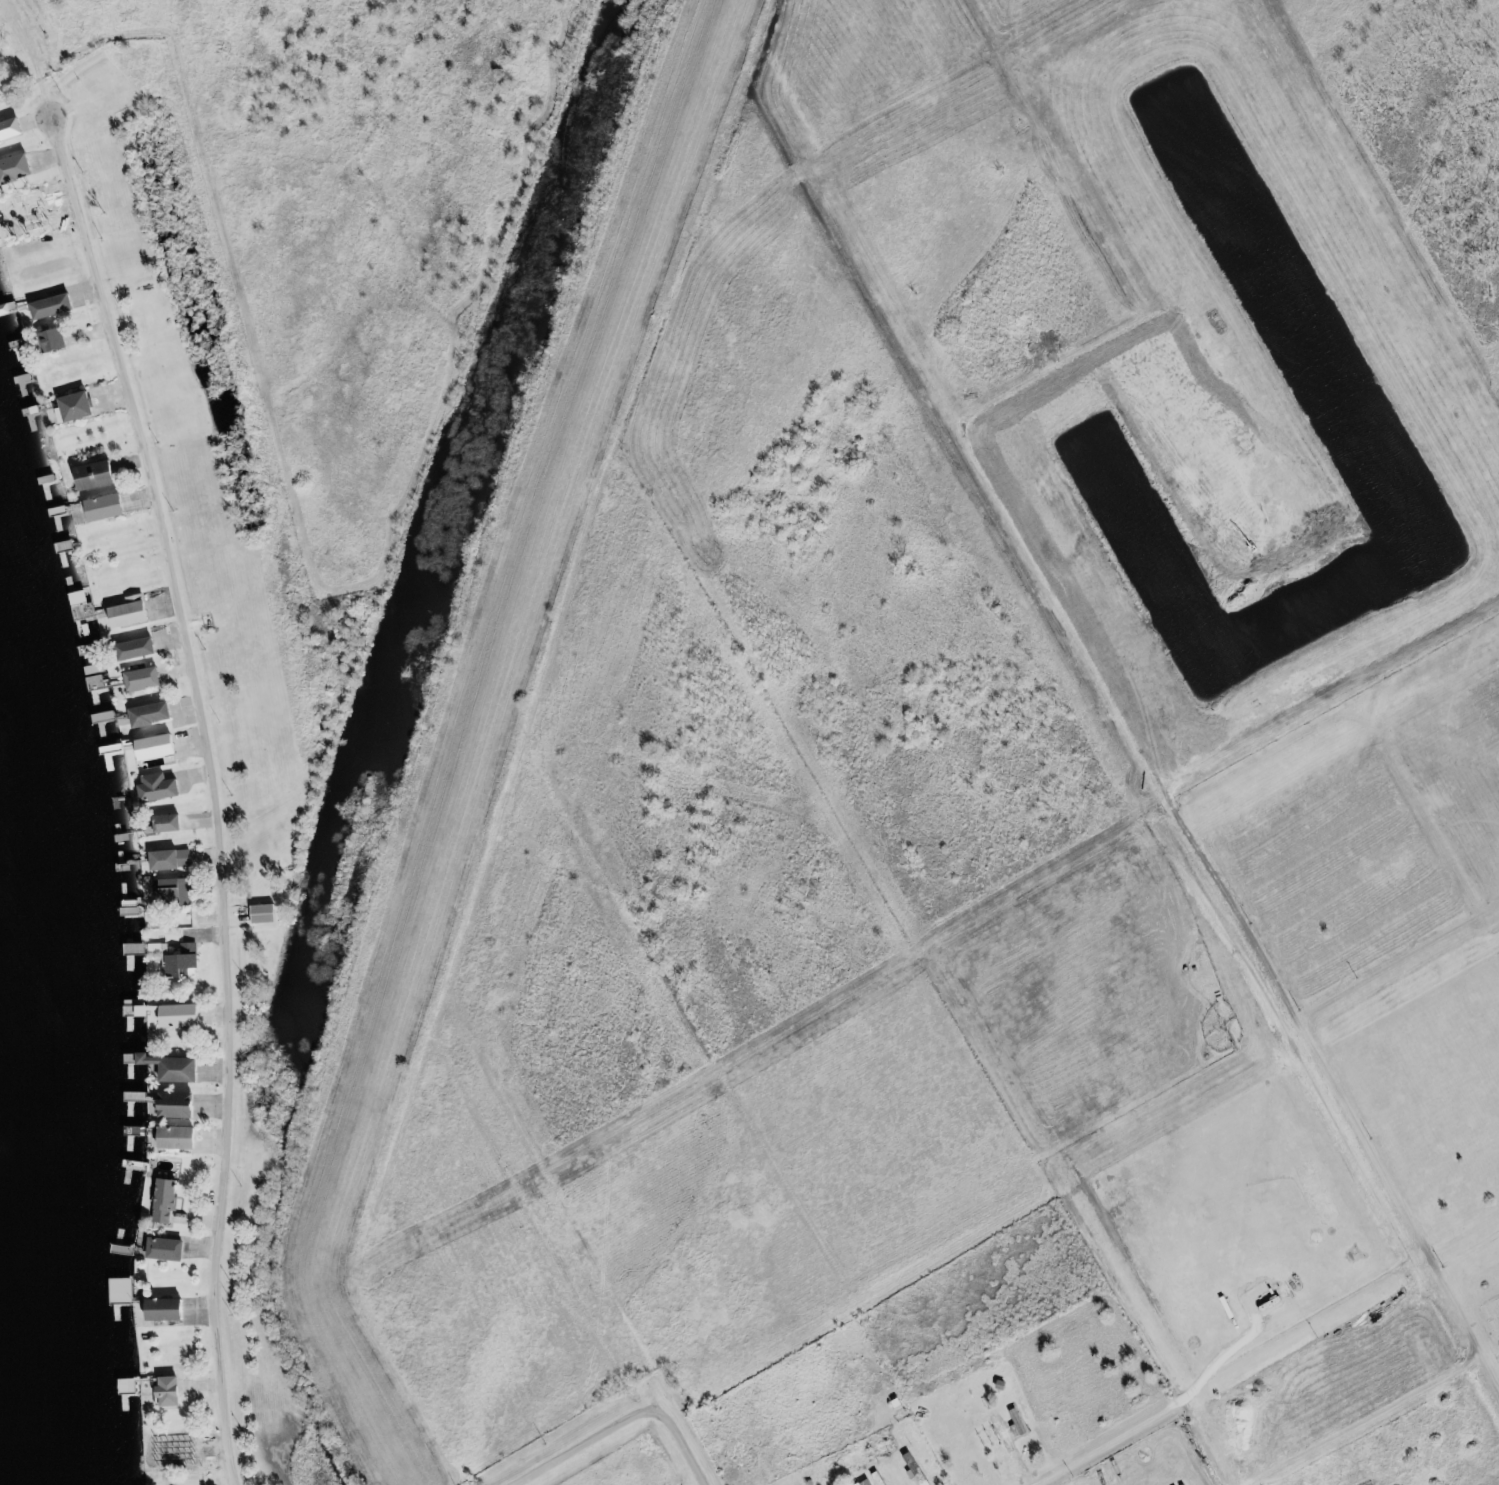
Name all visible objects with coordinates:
building: (14, 130)
building: (19, 168)
road: (629, 252)
building: (59, 305)
building: (59, 339)
building: (81, 406)
building: (103, 474)
building: (111, 506)
building: (85, 605)
building: (137, 611)
building: (143, 648)
building: (149, 678)
building: (157, 714)
building: (164, 746)
building: (165, 787)
road: (214, 791)
building: (174, 823)
building: (176, 859)
building: (177, 890)
building: (268, 913)
building: (148, 948)
building: (187, 961)
building: (181, 1015)
river: (36, 1062)
building: (175, 1067)
building: (184, 1105)
building: (184, 1138)
building: (171, 1201)
building: (172, 1249)
building: (125, 1290)
building: (173, 1308)
building: (131, 1385)
building: (175, 1390)
building: (1021, 1423)
road: (587, 1445)
road: (677, 1445)
road: (1057, 1470)
building: (868, 1482)

